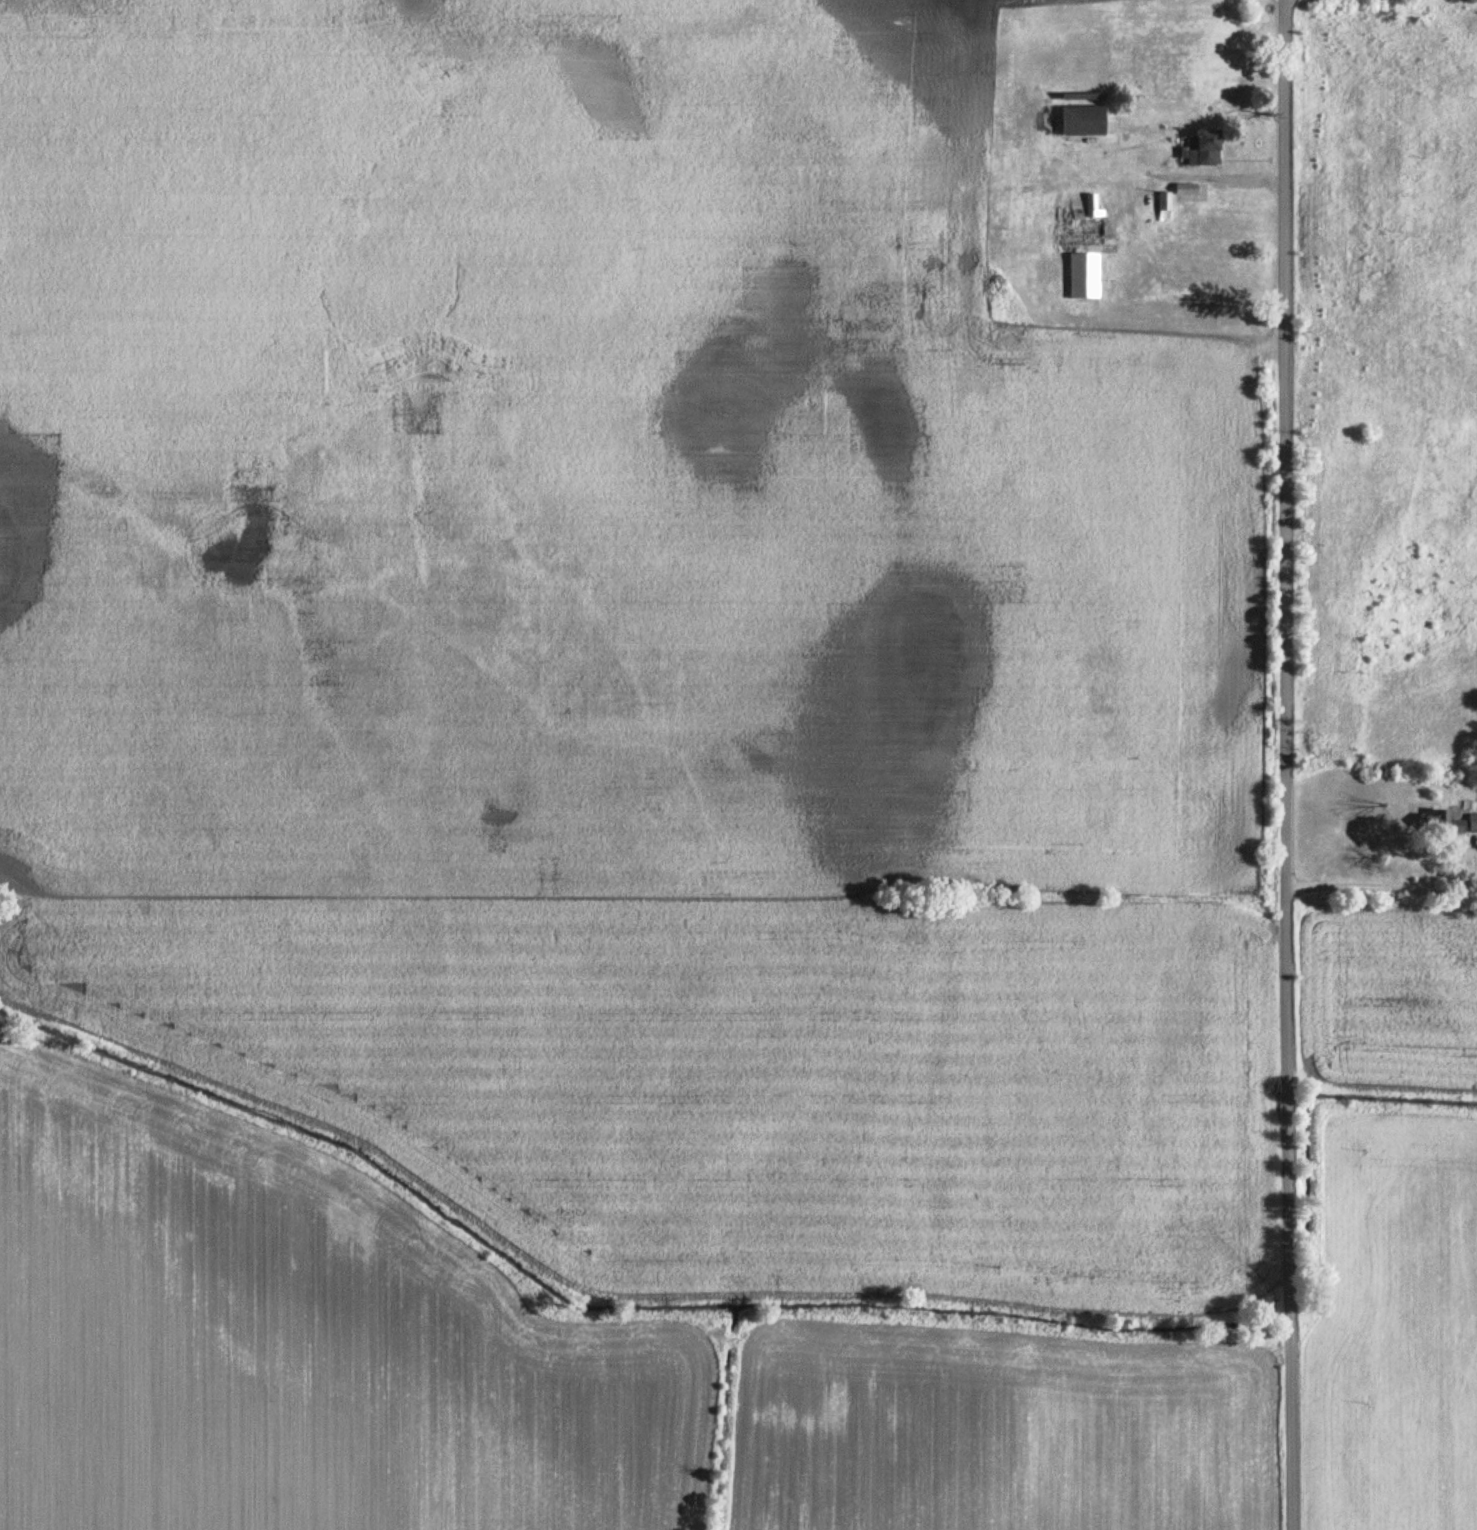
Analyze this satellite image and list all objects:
building: (1082, 120)
building: (1202, 148)
road: (1222, 178)
building: (1090, 205)
building: (1083, 276)
road: (1285, 765)
building: (1442, 823)
building: (1472, 823)
road: (1383, 885)
crop: (1391, 996)
crop: (295, 1343)
crop: (1002, 1429)

